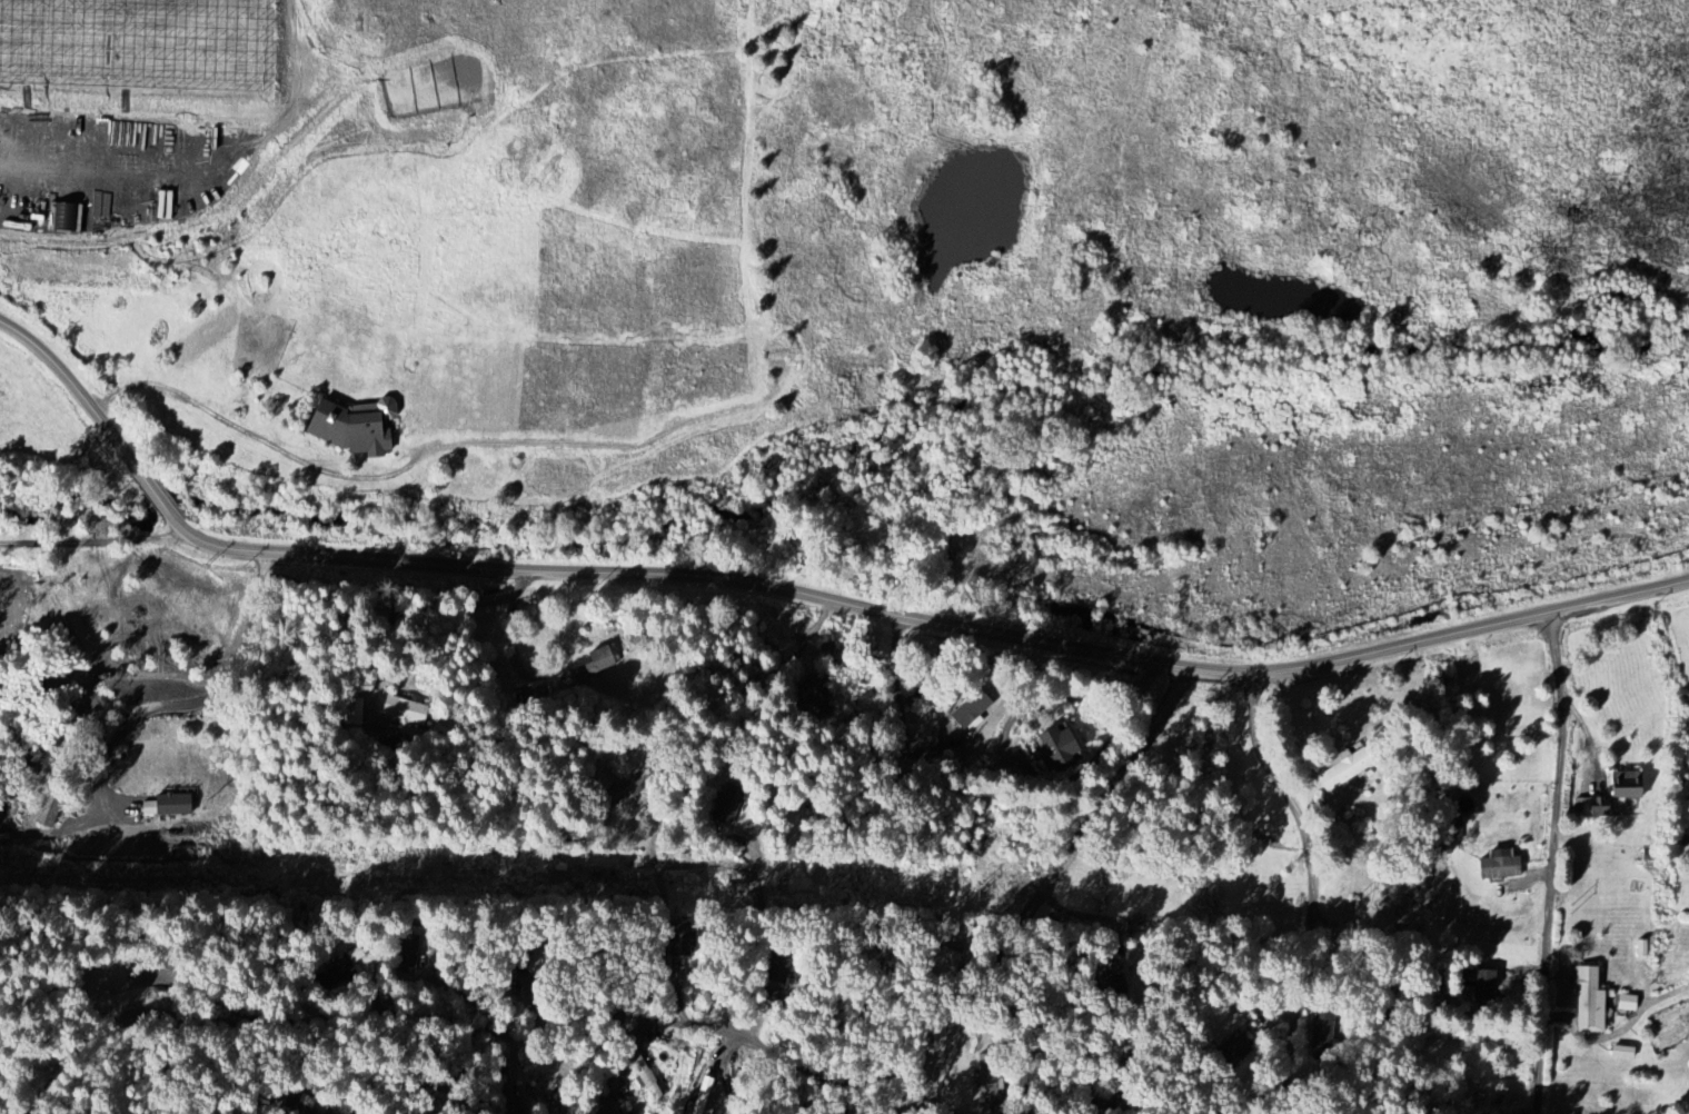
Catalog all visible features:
road: (80, 392)
road: (160, 498)
road: (92, 538)
road: (419, 607)
road: (931, 619)
building: (598, 662)
road: (235, 670)
building: (534, 693)
building: (974, 708)
building: (405, 709)
building: (1064, 748)
building: (1339, 768)
building: (1606, 792)
building: (171, 804)
building: (49, 810)
road: (1552, 863)
road: (669, 865)
road: (1042, 888)
road: (1311, 888)
road: (754, 947)
road: (376, 966)
building: (1586, 999)
building: (1625, 1003)
road: (463, 1023)
building: (987, 1081)
building: (650, 1083)
building: (521, 1096)
building: (698, 1102)
building: (608, 1107)
road: (1250, 1113)

